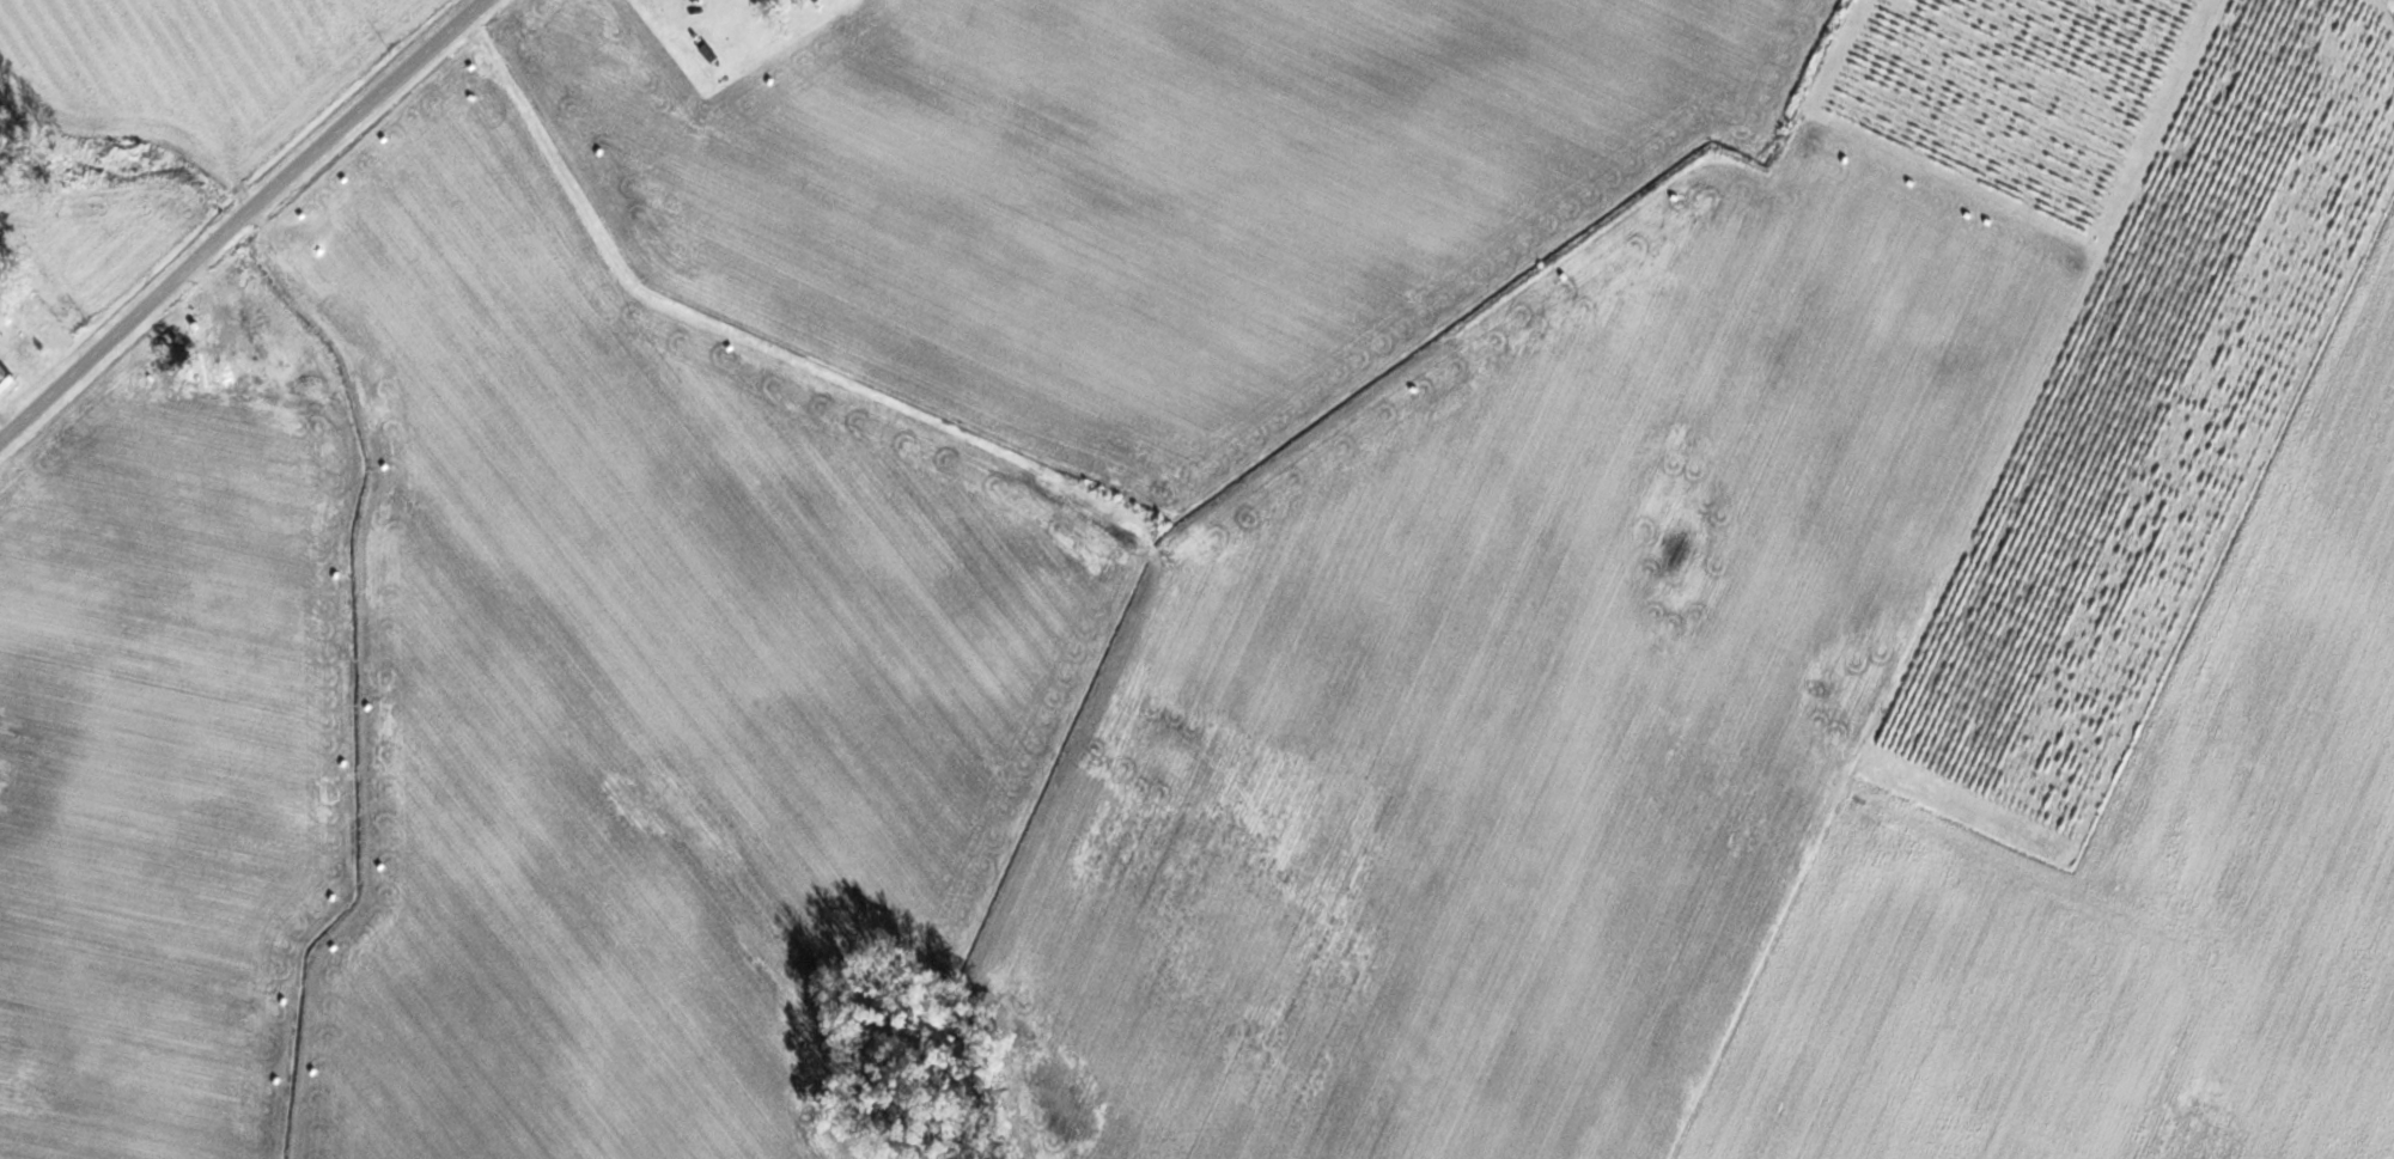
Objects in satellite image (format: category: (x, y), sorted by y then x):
road: (240, 218)
building: (285, 338)
building: (6, 379)
road: (5, 421)

